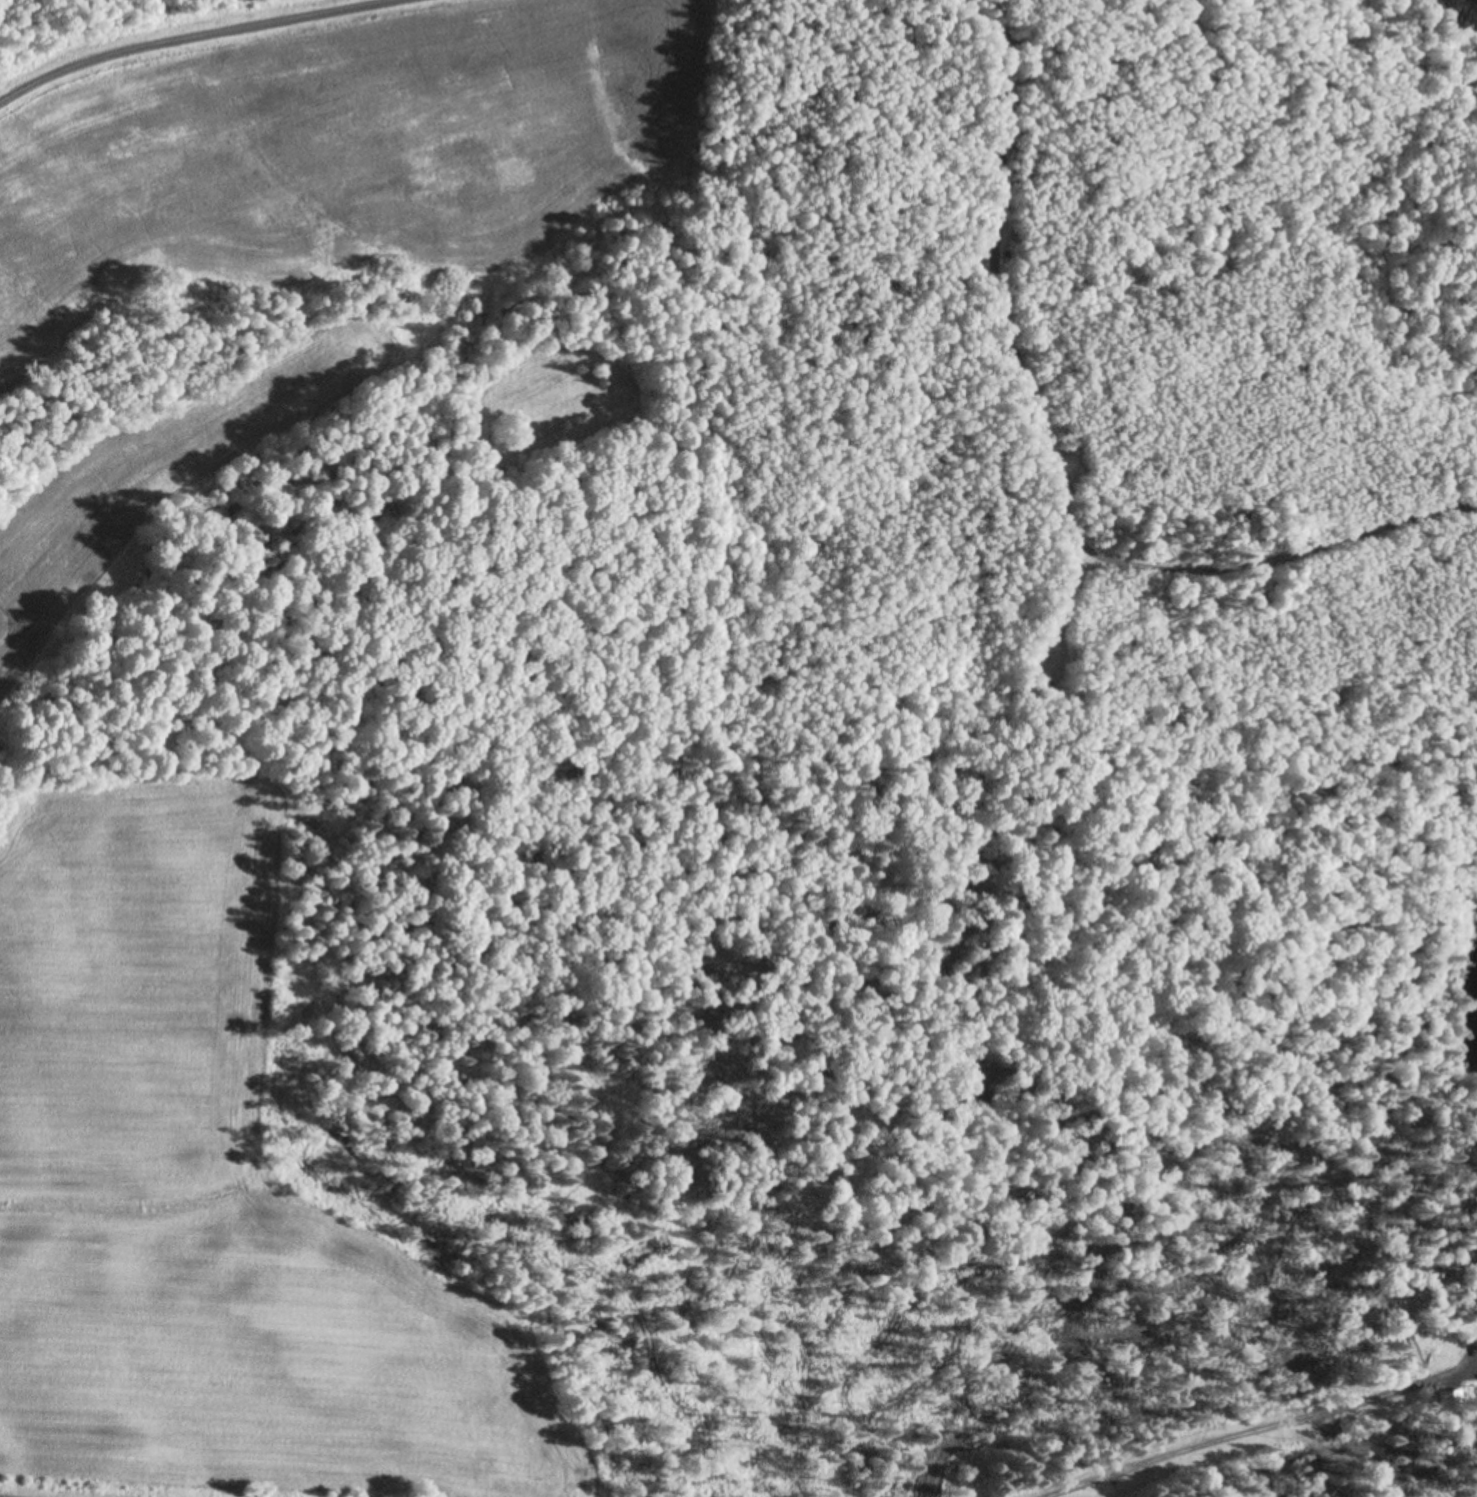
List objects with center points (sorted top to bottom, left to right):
road: (190, 35)
building: (1475, 1322)
building: (1451, 1398)
building: (1476, 1398)
road: (1263, 1430)

